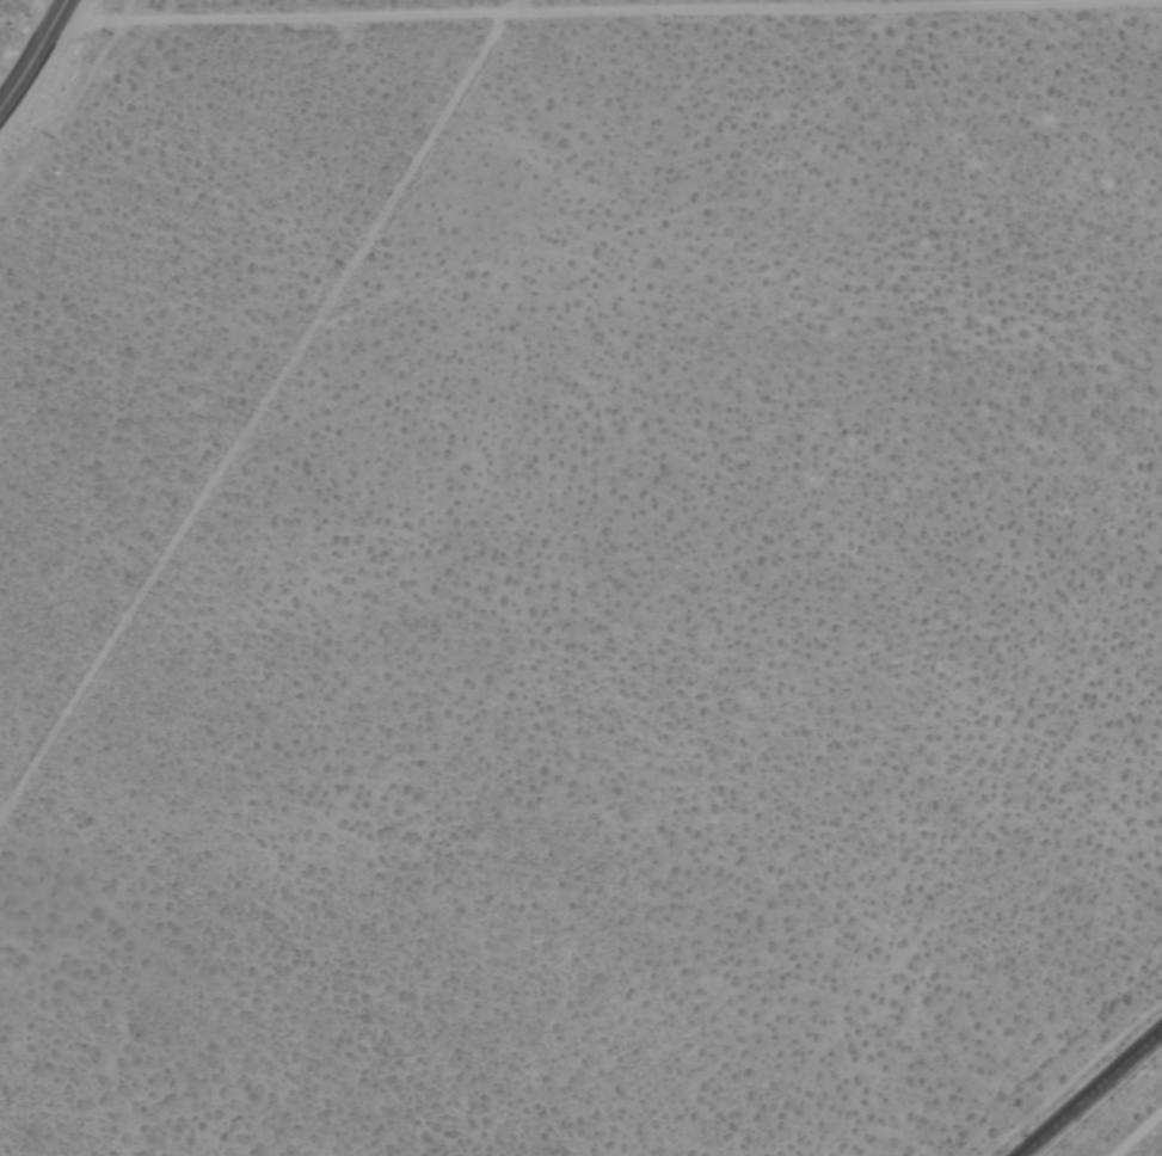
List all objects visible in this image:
road: (580, 13)
road: (36, 57)
railway: (1093, 1094)

